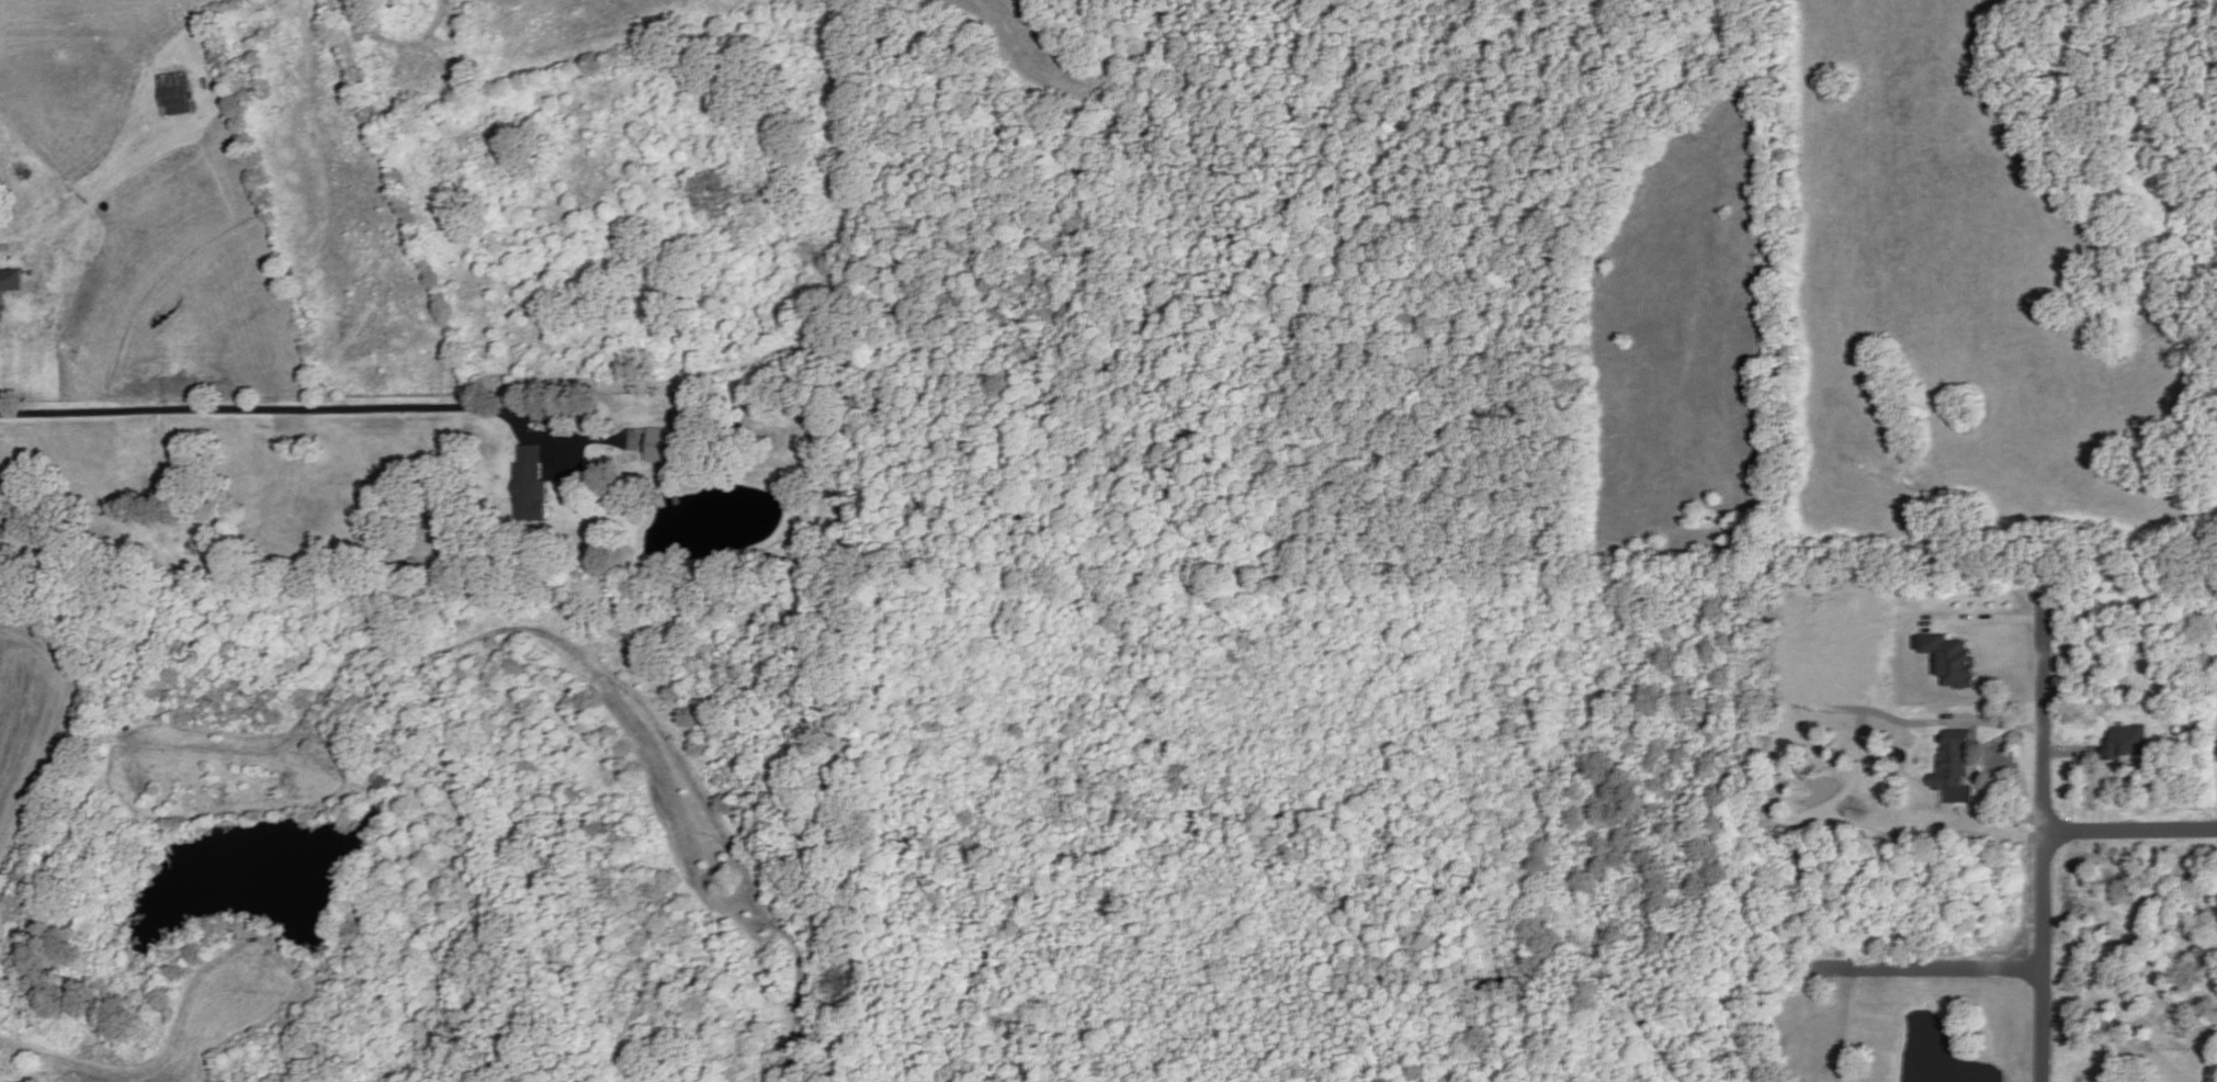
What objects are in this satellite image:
building: (176, 93)
building: (9, 284)
road: (267, 402)
building: (658, 443)
building: (530, 484)
building: (8, 520)
road: (1984, 620)
building: (1952, 661)
crop: (26, 719)
building: (2127, 741)
building: (1954, 758)
road: (2129, 831)
road: (2041, 833)
road: (1927, 969)
road: (1848, 1028)

